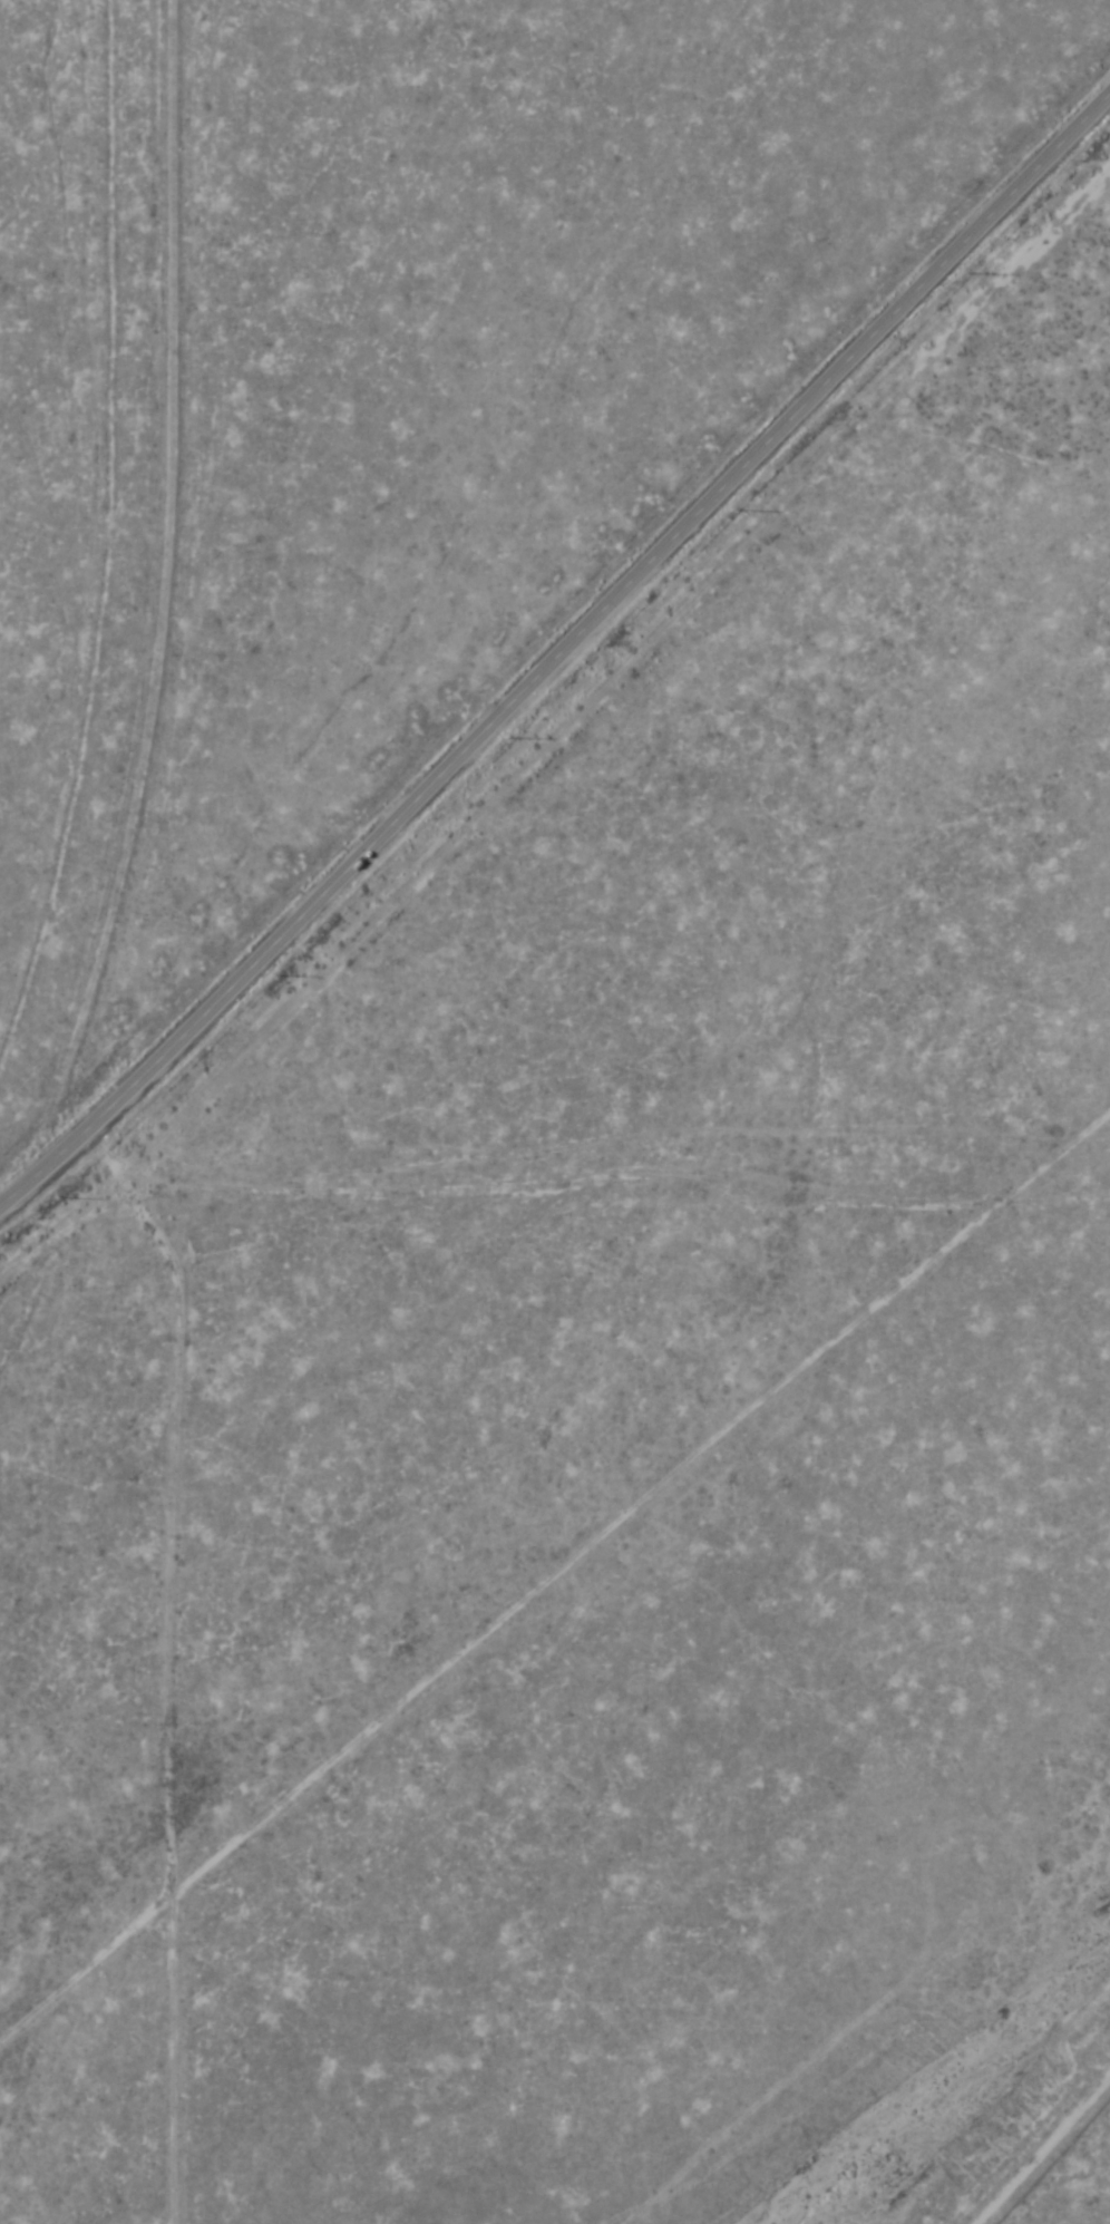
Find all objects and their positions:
road: (567, 664)
road: (547, 1569)
road: (1053, 2162)

